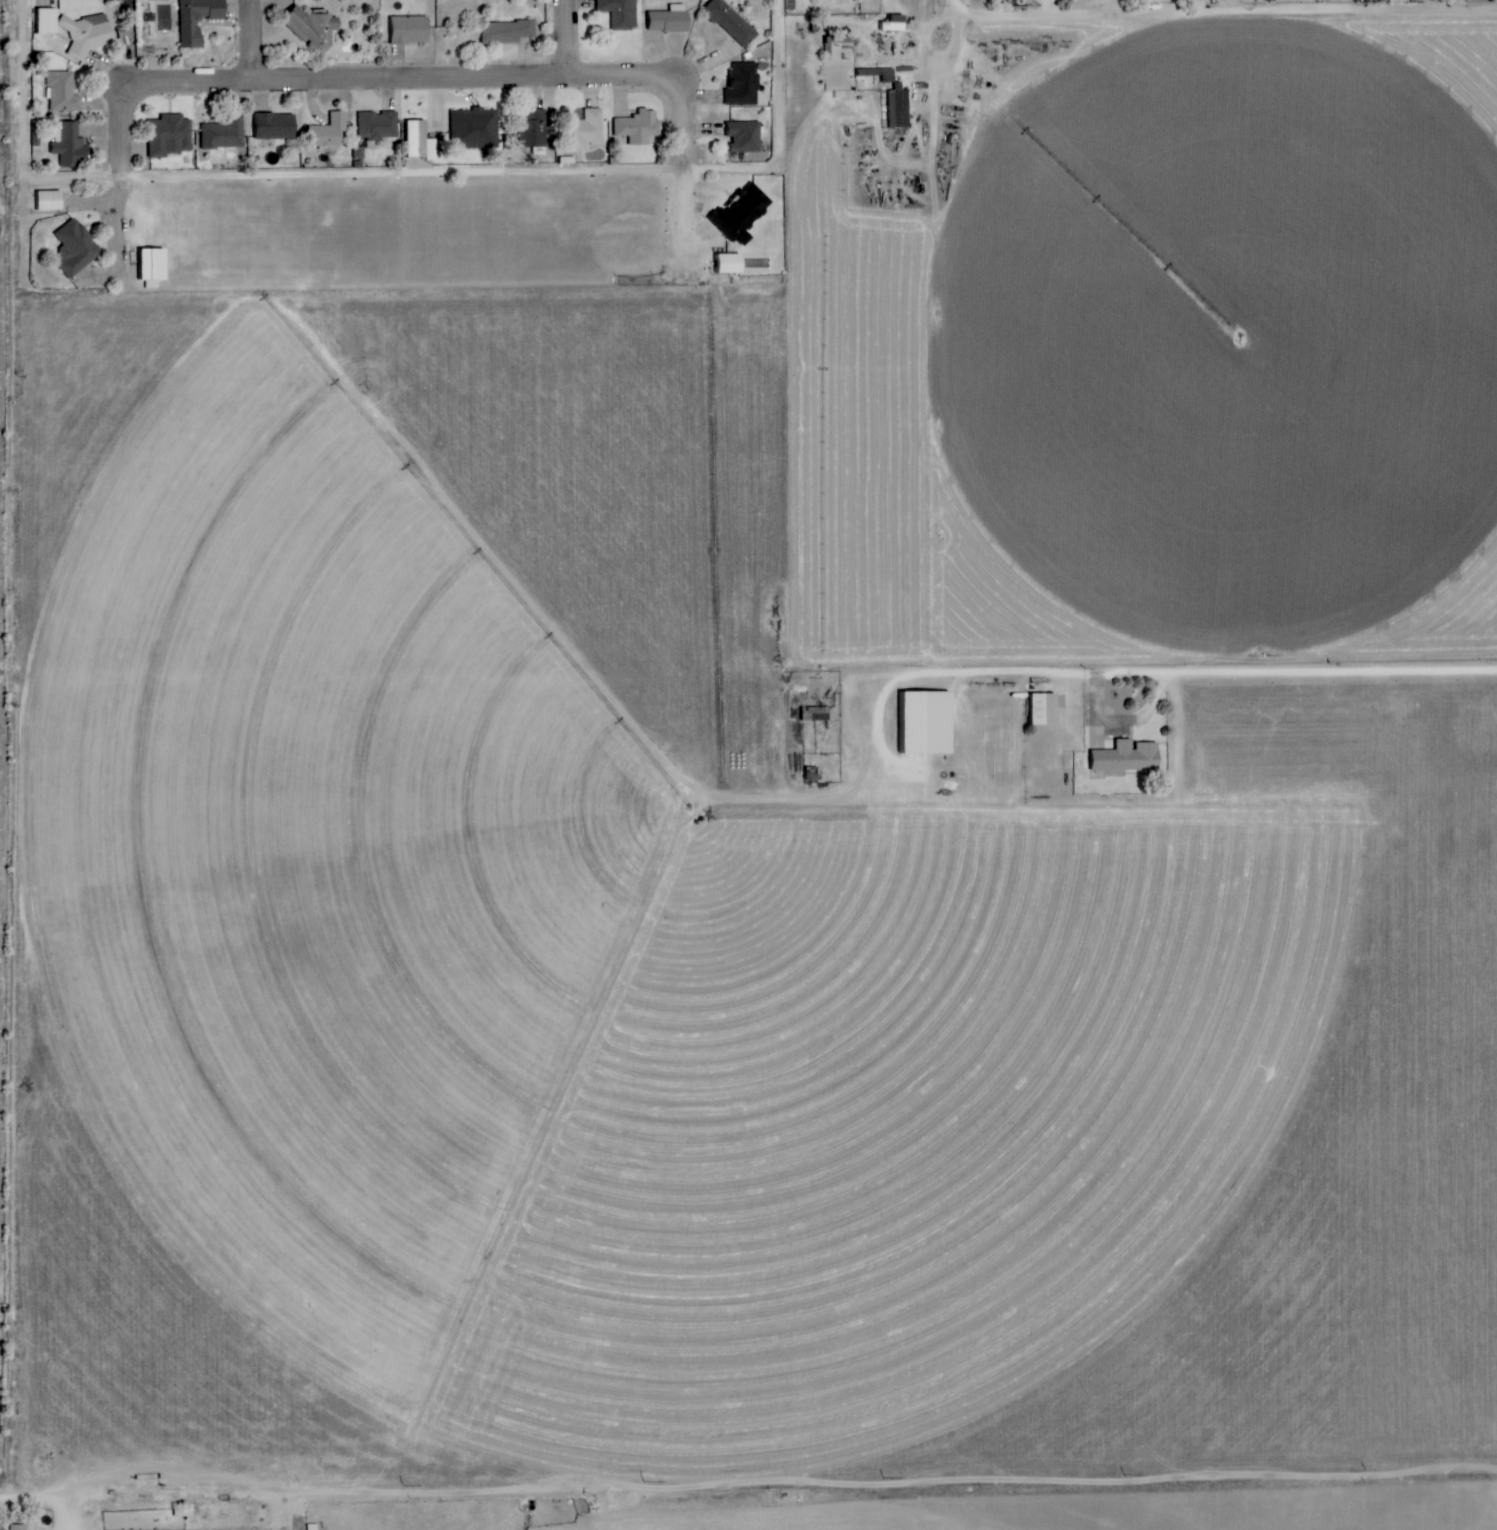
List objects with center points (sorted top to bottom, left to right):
building: (621, 13)
road: (1230, 14)
building: (199, 19)
building: (670, 19)
building: (47, 21)
building: (732, 22)
building: (894, 24)
building: (316, 28)
building: (411, 30)
building: (507, 32)
building: (89, 33)
road: (575, 38)
road: (259, 42)
road: (940, 50)
road: (779, 71)
building: (880, 74)
road: (346, 81)
building: (745, 83)
building: (64, 92)
building: (899, 106)
building: (277, 126)
building: (378, 126)
building: (638, 128)
building: (475, 129)
building: (534, 129)
building: (587, 131)
building: (330, 132)
building: (225, 134)
building: (171, 136)
building: (746, 136)
building: (71, 145)
road: (324, 176)
building: (51, 200)
building: (739, 218)
building: (77, 249)
building: (729, 264)
building: (153, 265)
road: (1182, 675)
building: (1036, 708)
building: (811, 713)
building: (918, 721)
building: (1122, 756)
power tower: (1365, 1469)
power tower: (1120, 1473)
power tower: (881, 1477)
power tower: (642, 1481)
road: (748, 1483)
power tower: (402, 1484)
power tower: (162, 1488)
road: (71, 1513)
building: (15, 1527)

